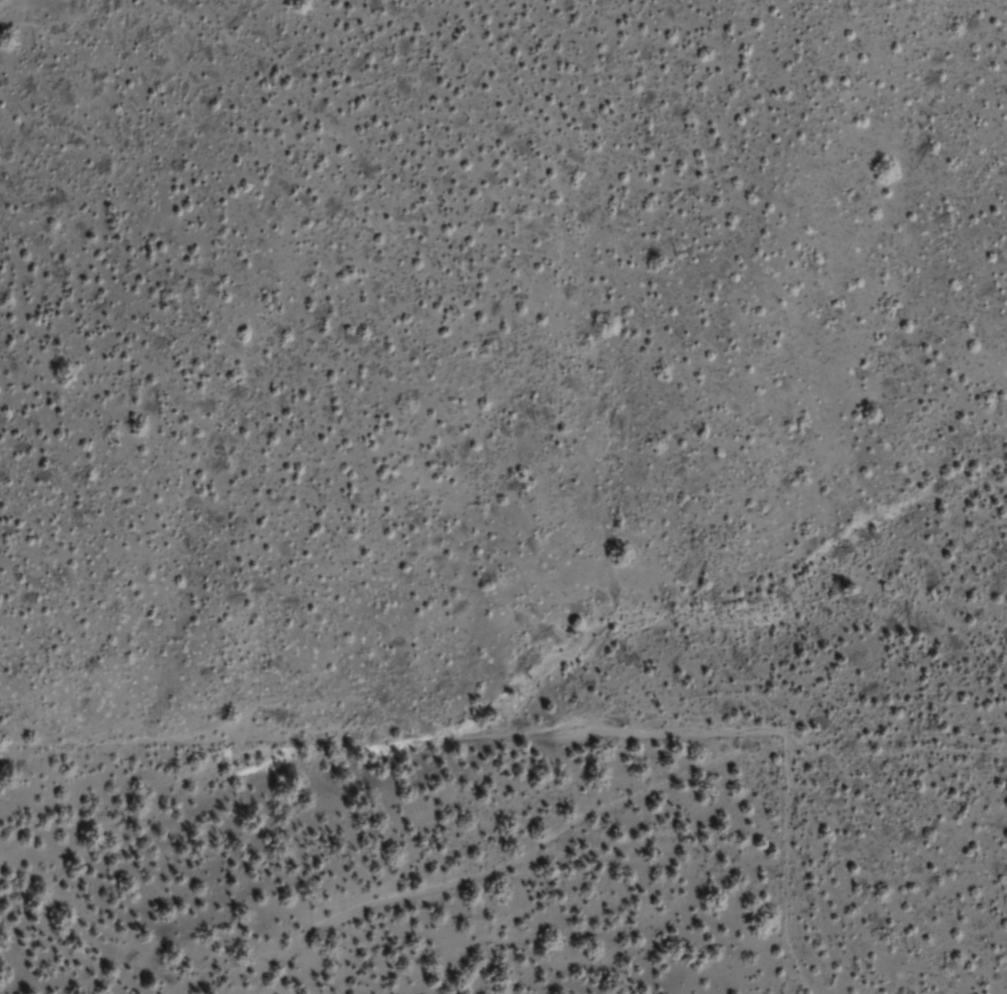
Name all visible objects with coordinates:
road: (614, 826)

